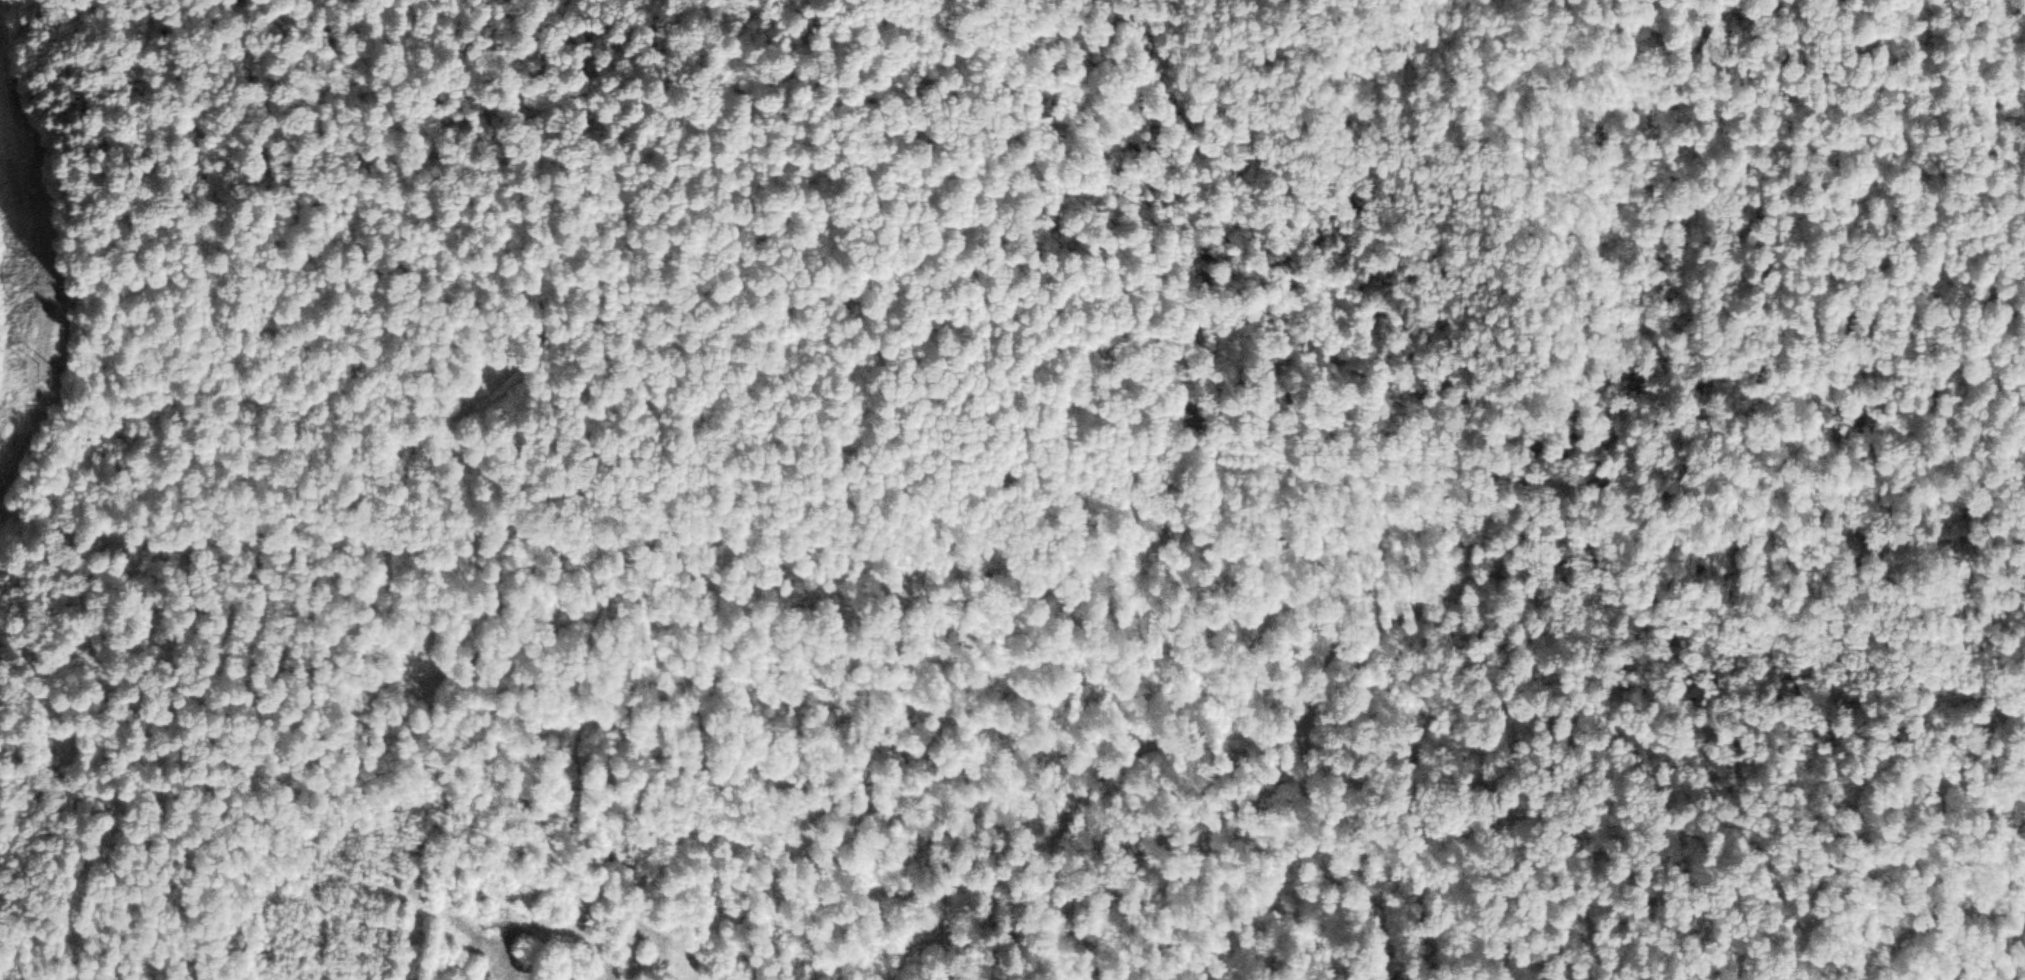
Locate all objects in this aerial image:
power tower: (39, 363)
road: (617, 910)

